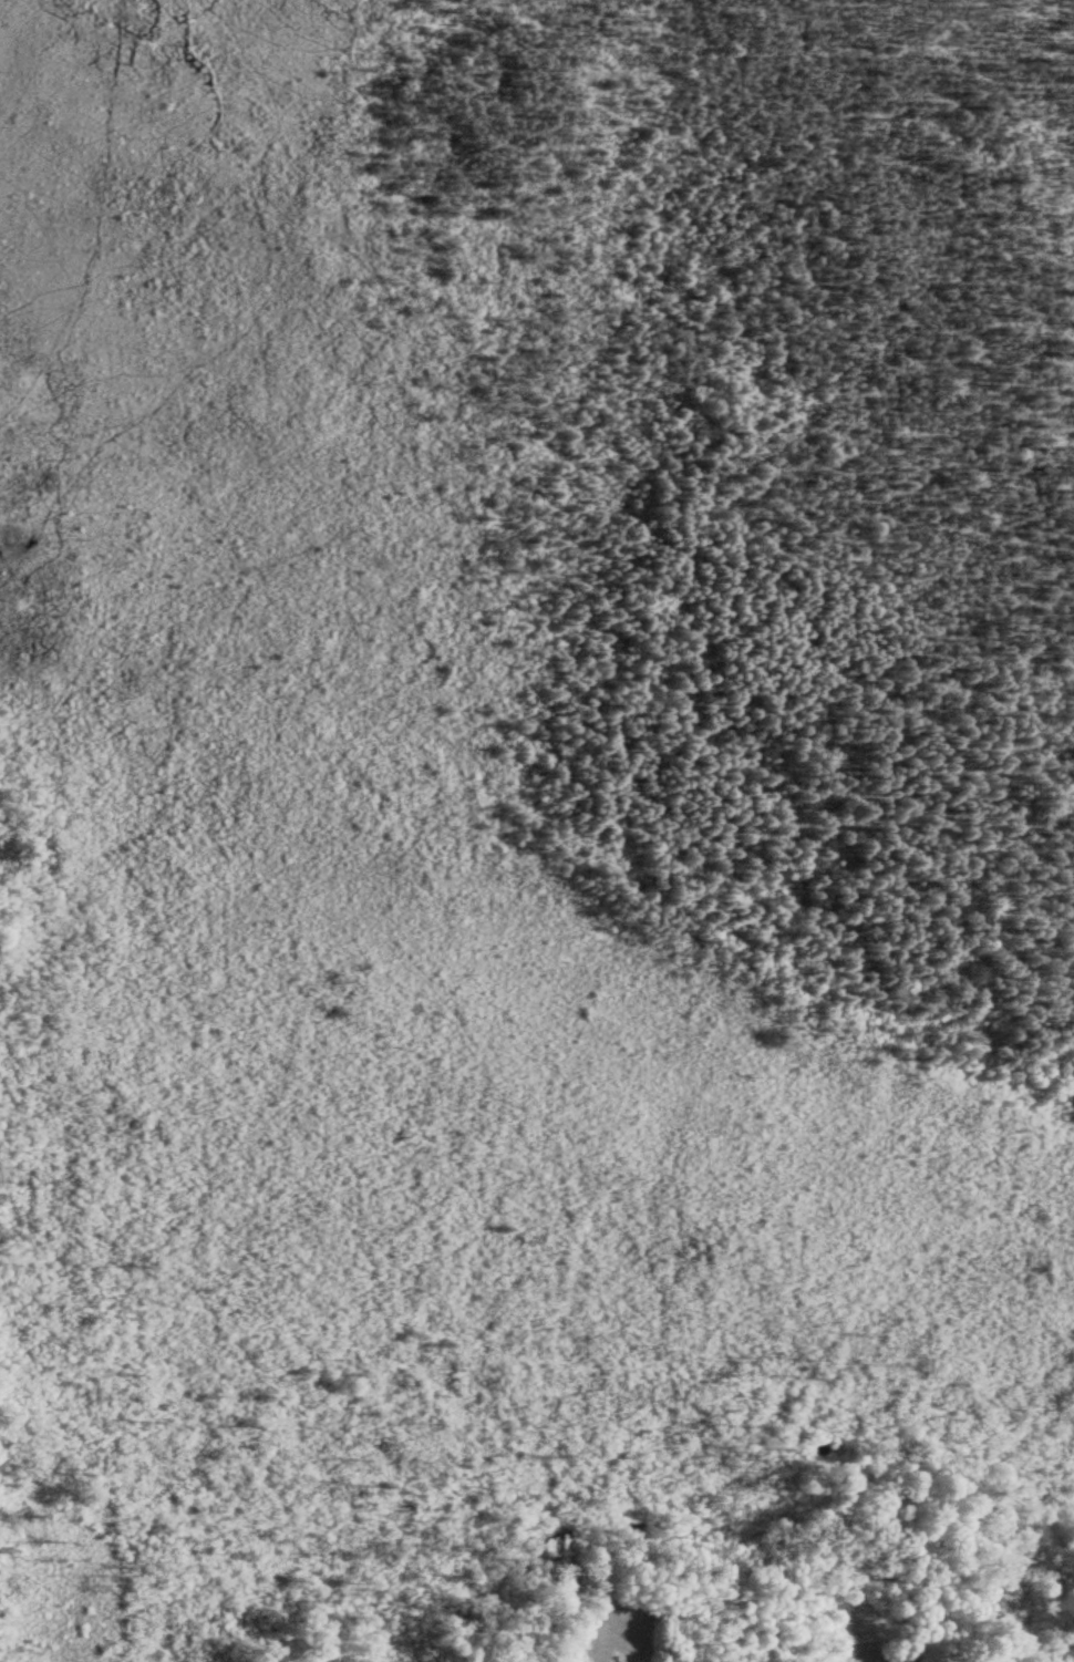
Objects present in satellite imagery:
road: (378, 1485)

